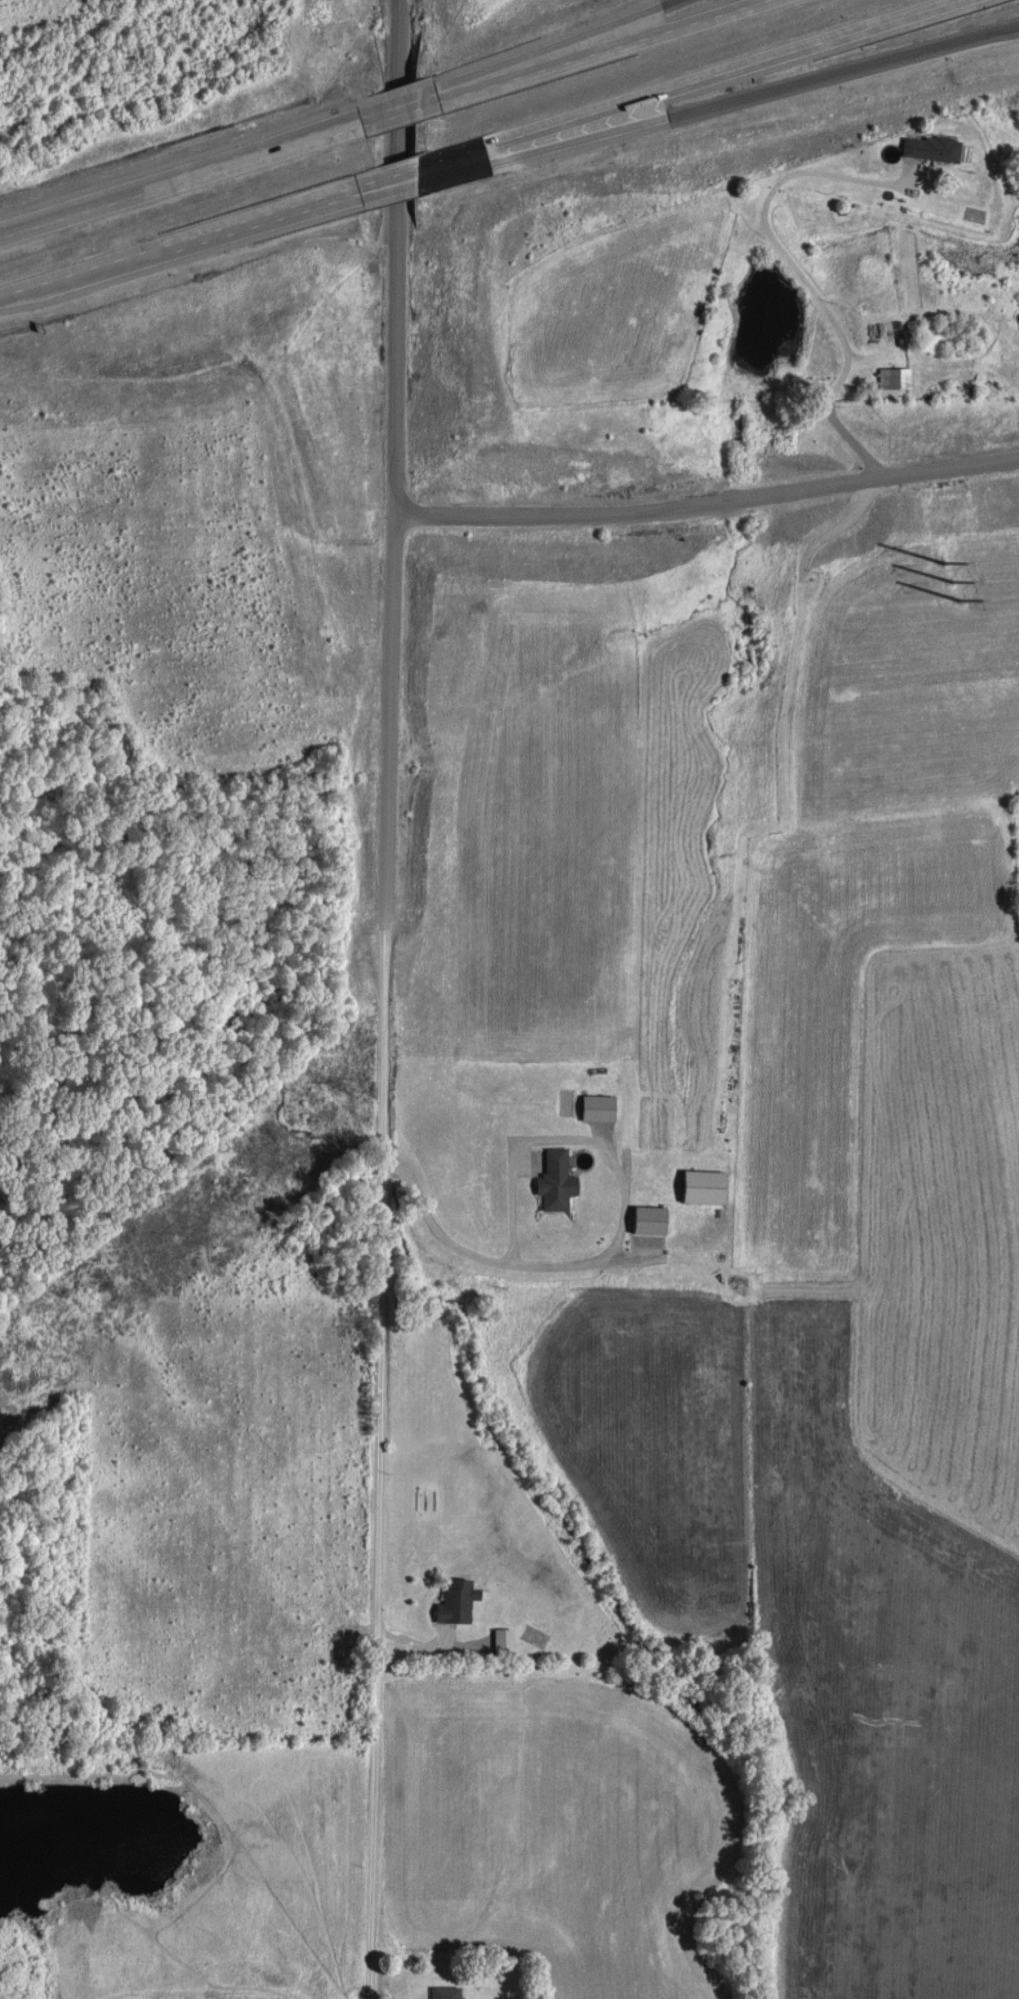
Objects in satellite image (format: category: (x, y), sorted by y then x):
road: (626, 28)
road: (652, 28)
road: (499, 78)
road: (698, 82)
road: (729, 103)
road: (399, 113)
building: (930, 147)
road: (178, 181)
road: (396, 181)
road: (401, 200)
road: (178, 249)
road: (393, 255)
road: (181, 263)
road: (803, 280)
building: (892, 376)
road: (710, 510)
power tower: (950, 577)
power tower: (349, 1084)
building: (596, 1106)
building: (554, 1180)
building: (702, 1186)
building: (647, 1220)
road: (619, 1236)
road: (379, 1254)
building: (455, 1598)
building: (502, 1640)
building: (444, 1992)

